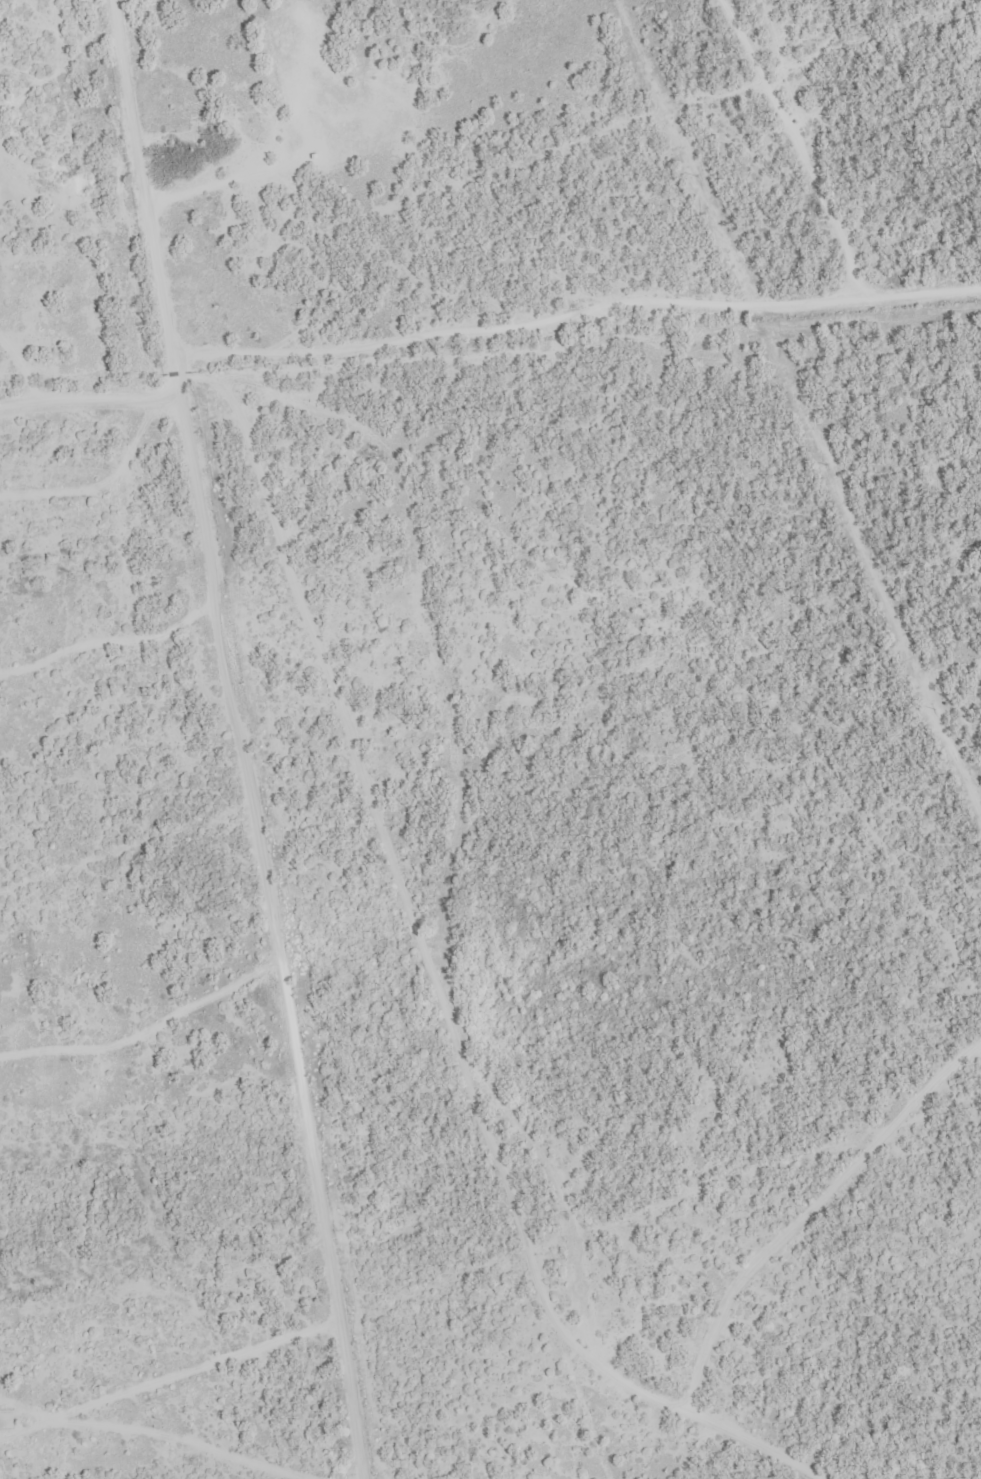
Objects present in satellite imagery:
road: (391, 356)
road: (454, 983)
road: (737, 1425)

